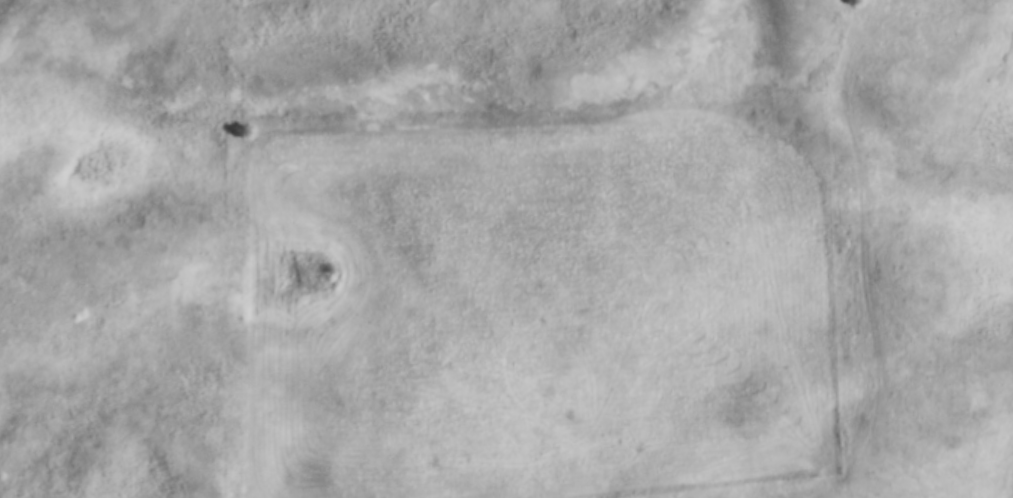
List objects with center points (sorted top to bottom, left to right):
road: (863, 235)

